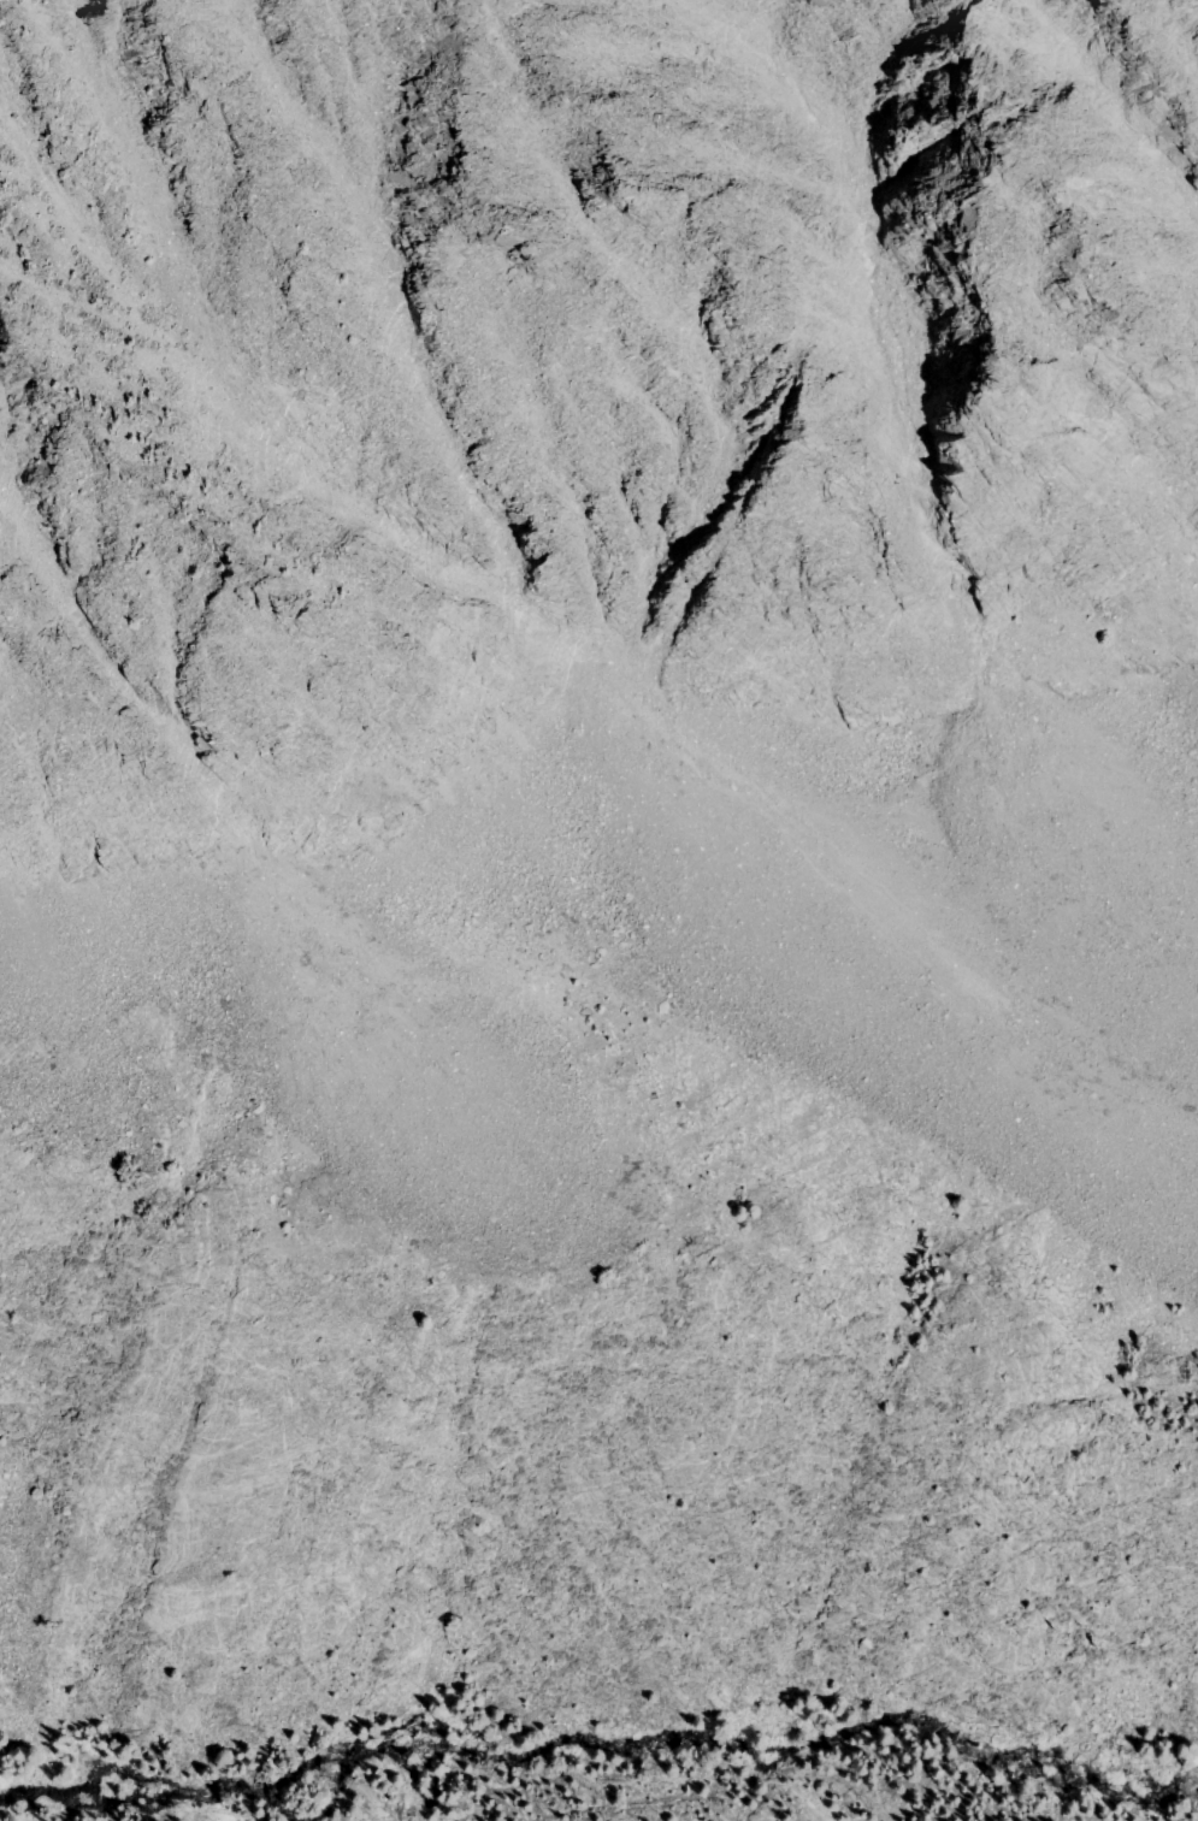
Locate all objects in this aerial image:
road: (633, 1780)
road: (214, 1803)

